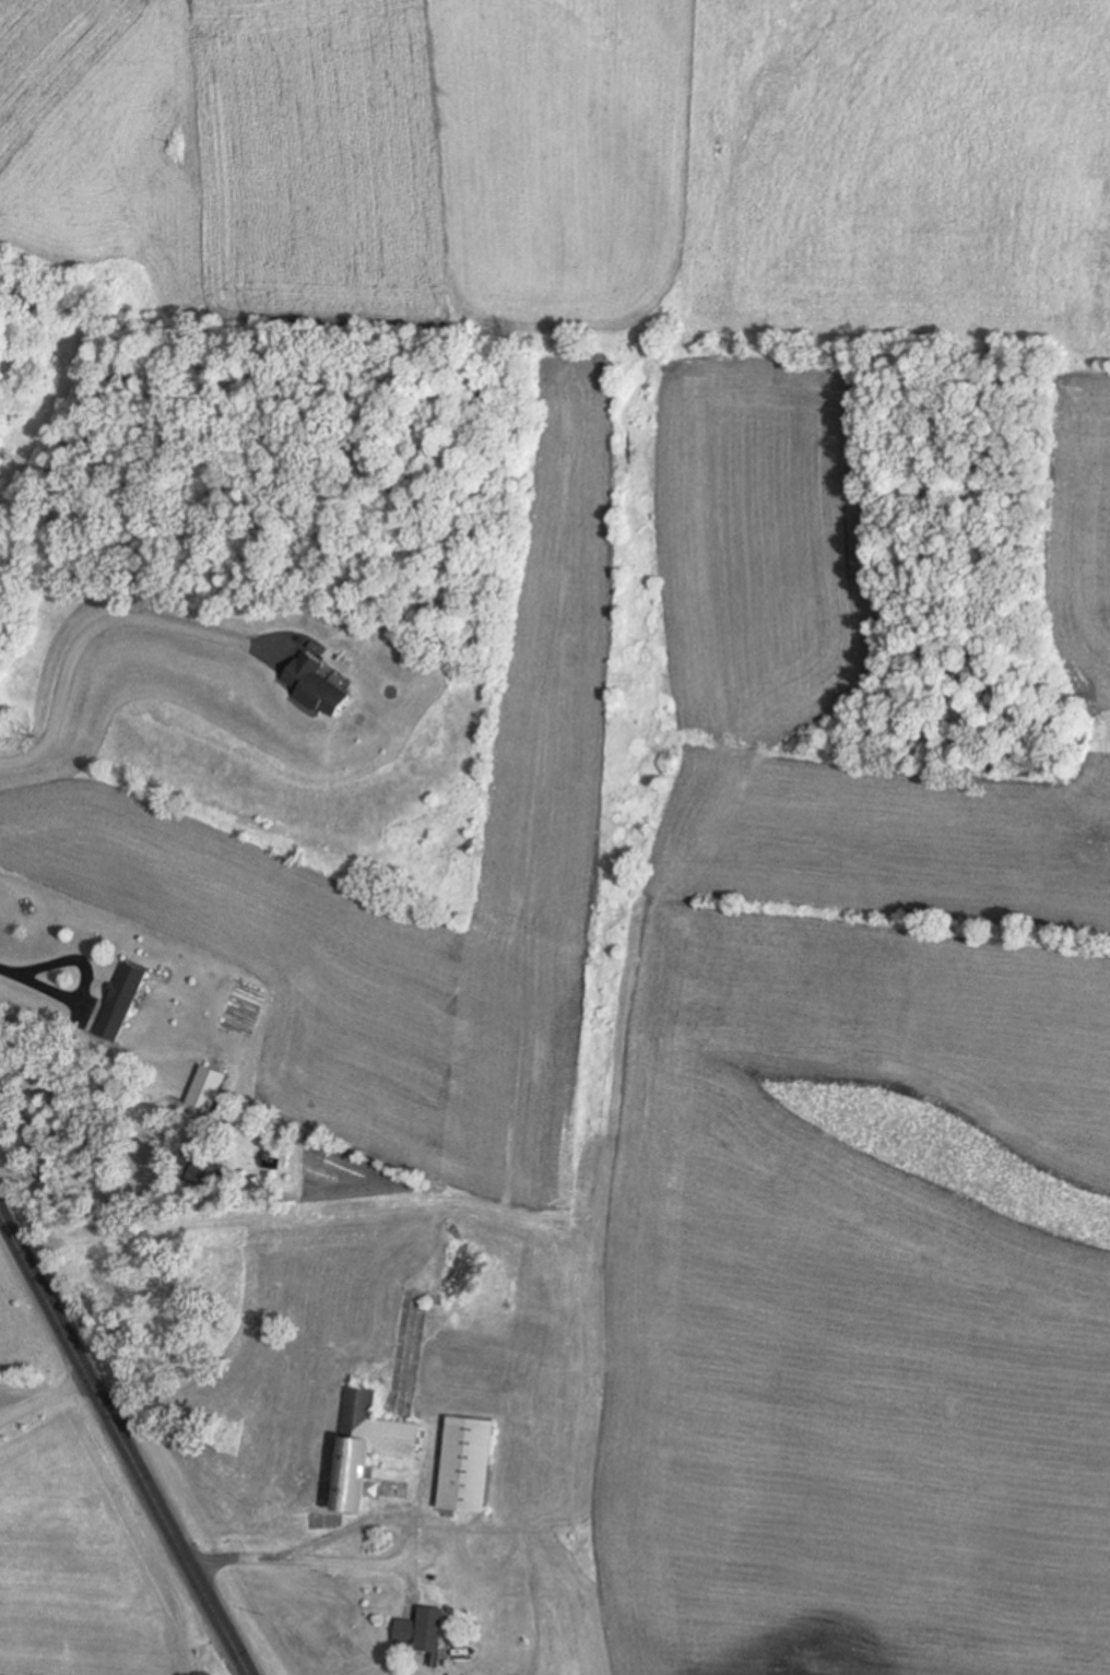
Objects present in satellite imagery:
building: (317, 686)
building: (114, 1003)
building: (206, 1089)
road: (49, 1407)
road: (128, 1436)
building: (367, 1448)
building: (468, 1465)
road: (393, 1564)
building: (414, 1638)

